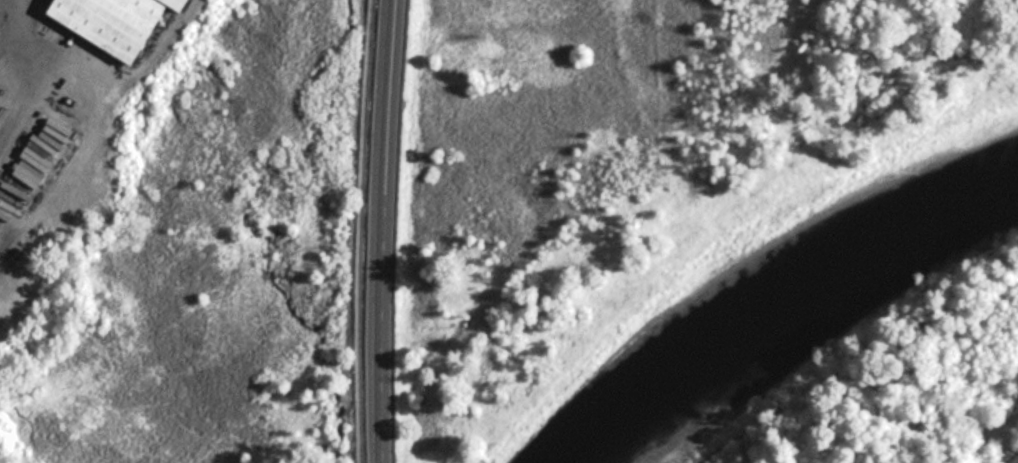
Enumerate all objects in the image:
building: (118, 22)
road: (39, 71)
road: (359, 231)
road: (383, 231)
river: (774, 283)

